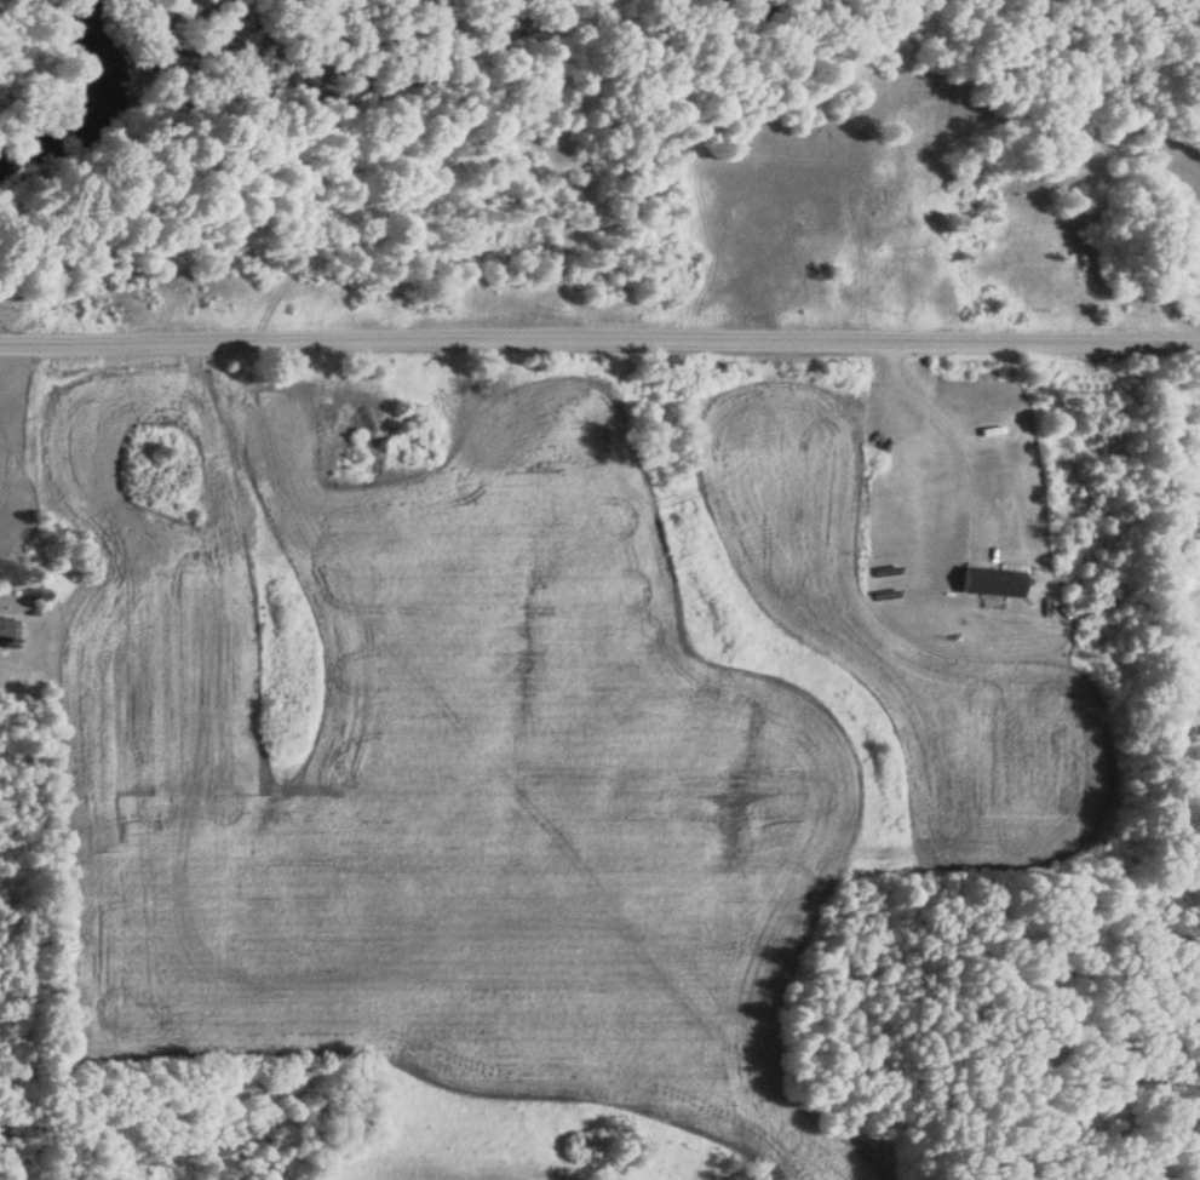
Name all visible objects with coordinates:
river: (94, 107)
road: (599, 339)
building: (1193, 535)
building: (991, 582)

